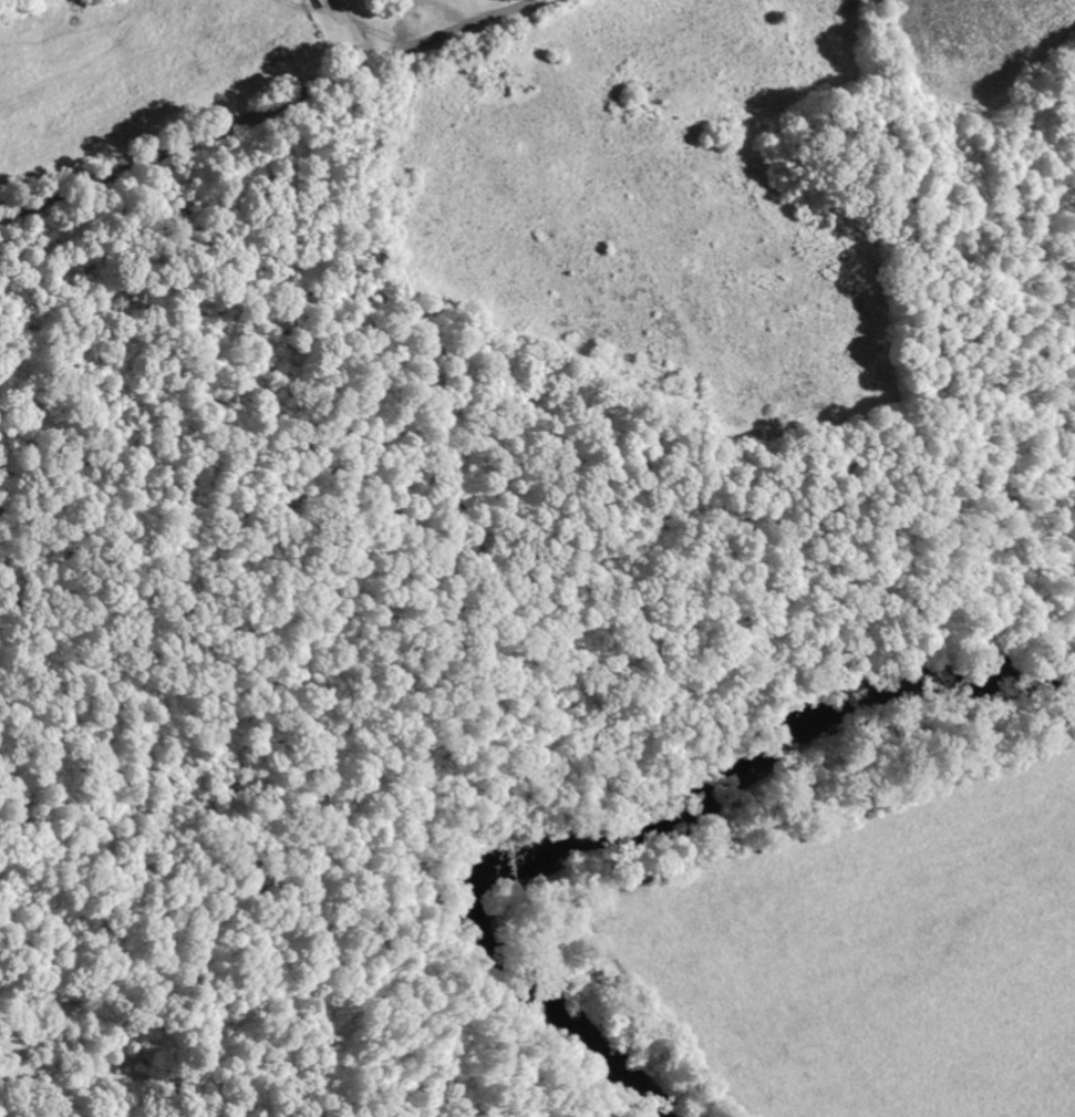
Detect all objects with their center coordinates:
road: (267, 110)

